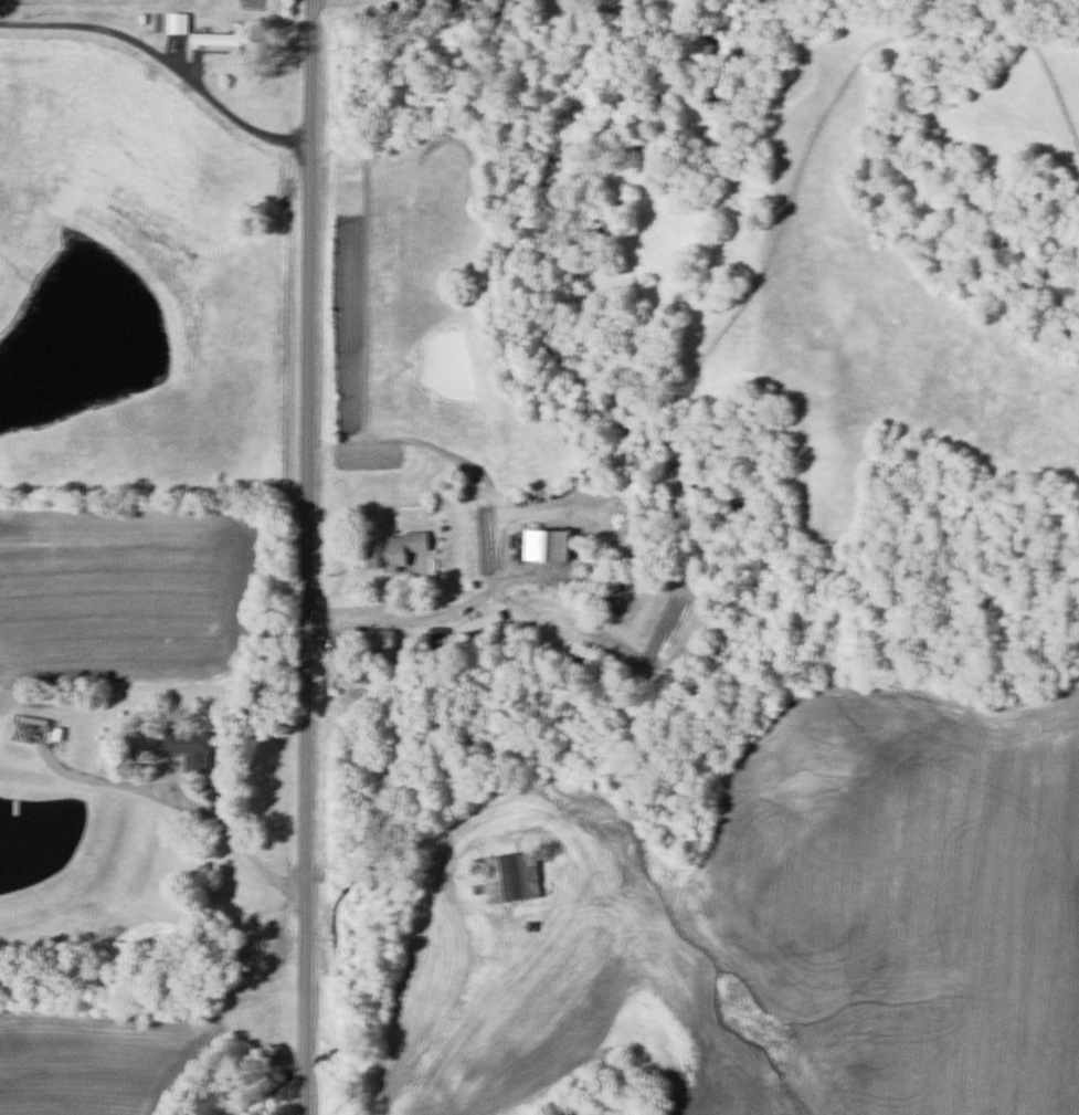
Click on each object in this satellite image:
road: (350, 7)
building: (429, 7)
building: (179, 22)
building: (219, 40)
road: (163, 64)
building: (550, 545)
building: (396, 550)
road: (307, 557)
building: (480, 623)
road: (431, 628)
building: (443, 634)
building: (385, 639)
building: (363, 676)
building: (197, 749)
road: (230, 839)
building: (515, 877)
road: (444, 1013)

